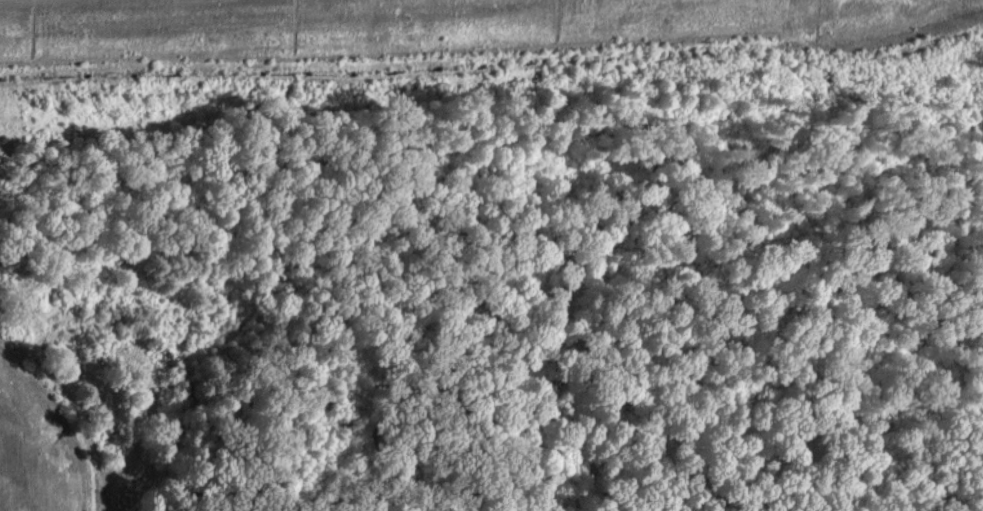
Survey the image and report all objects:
building: (143, 408)

